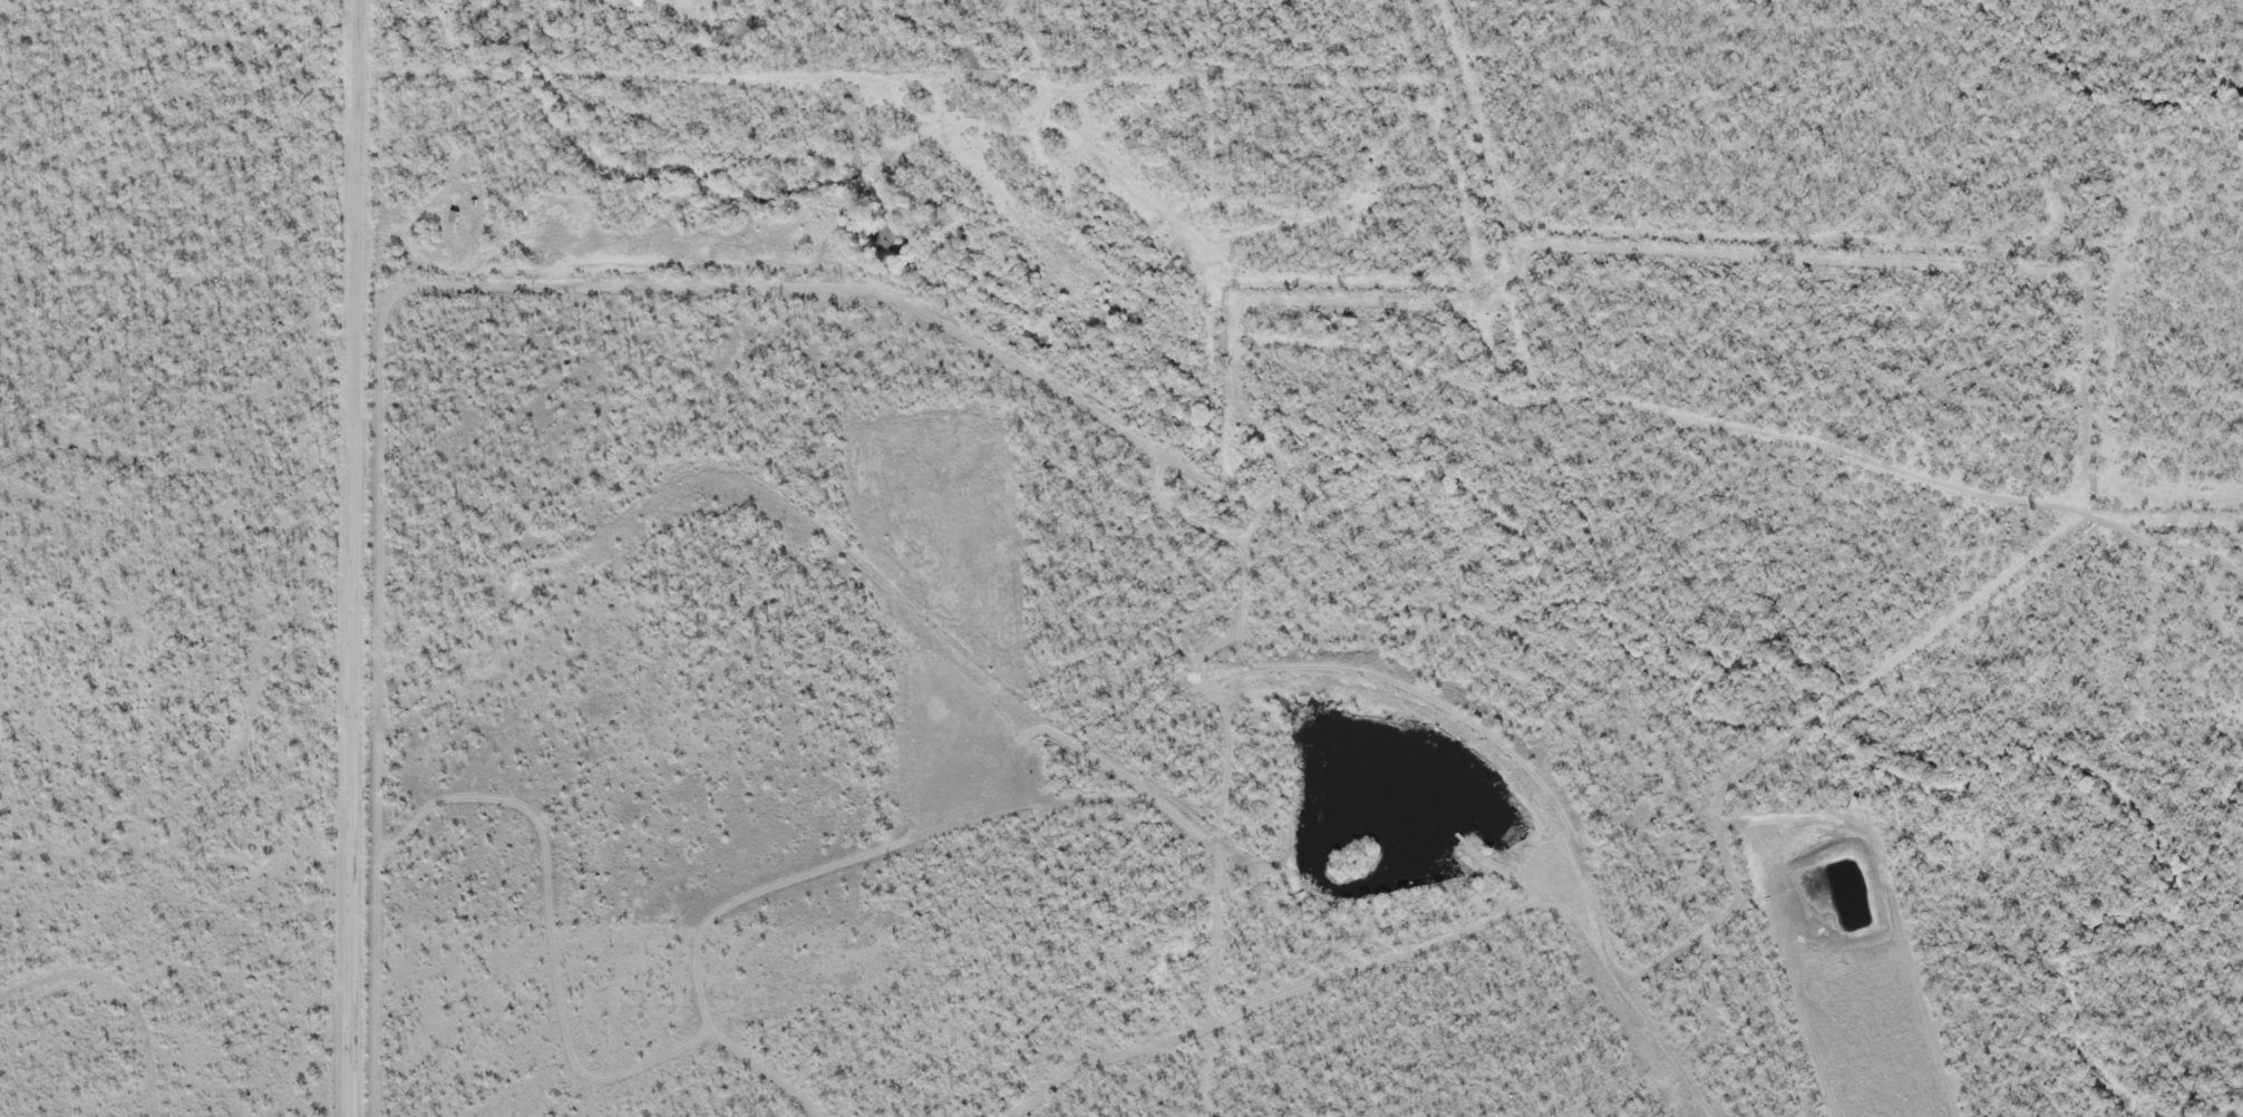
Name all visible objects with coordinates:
road: (353, 558)

